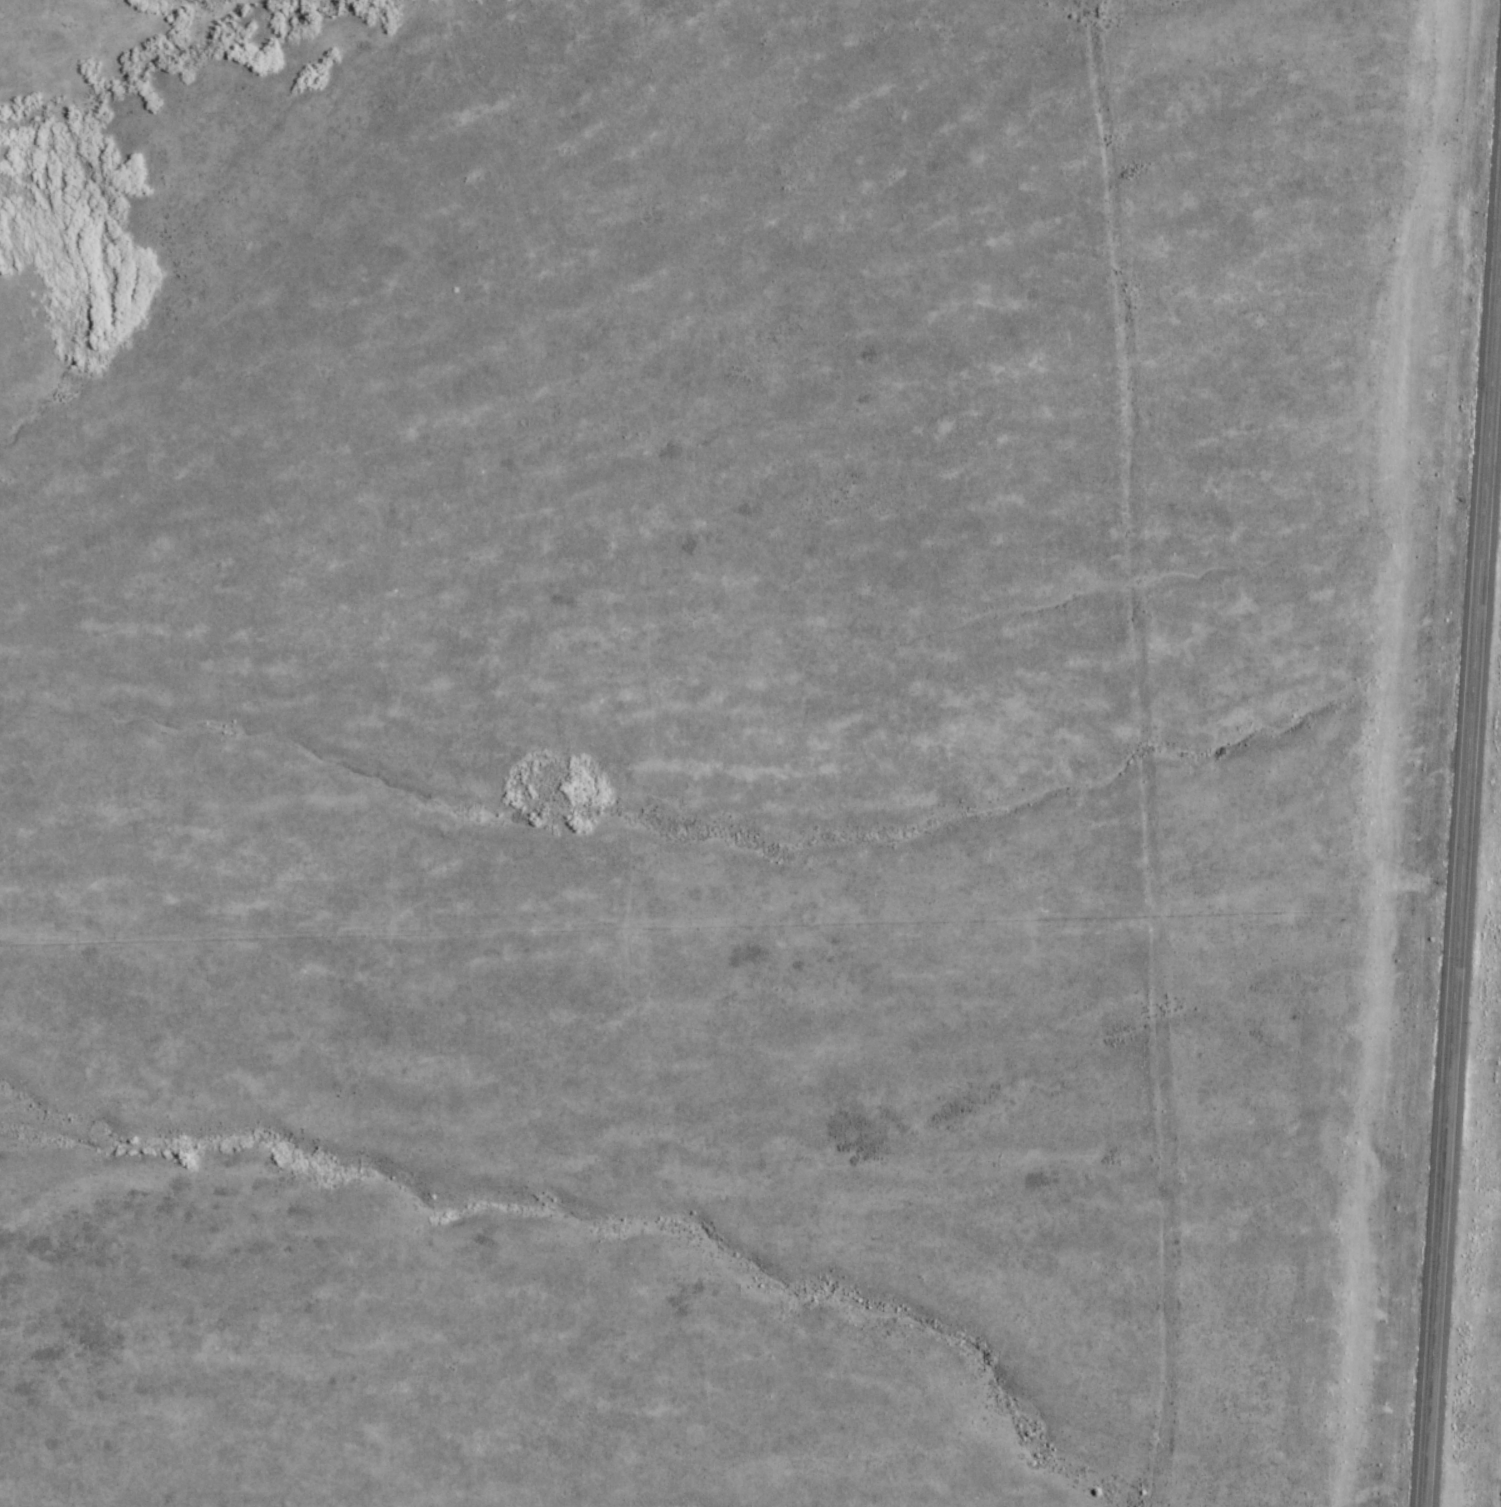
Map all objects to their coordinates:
road: (1462, 876)

